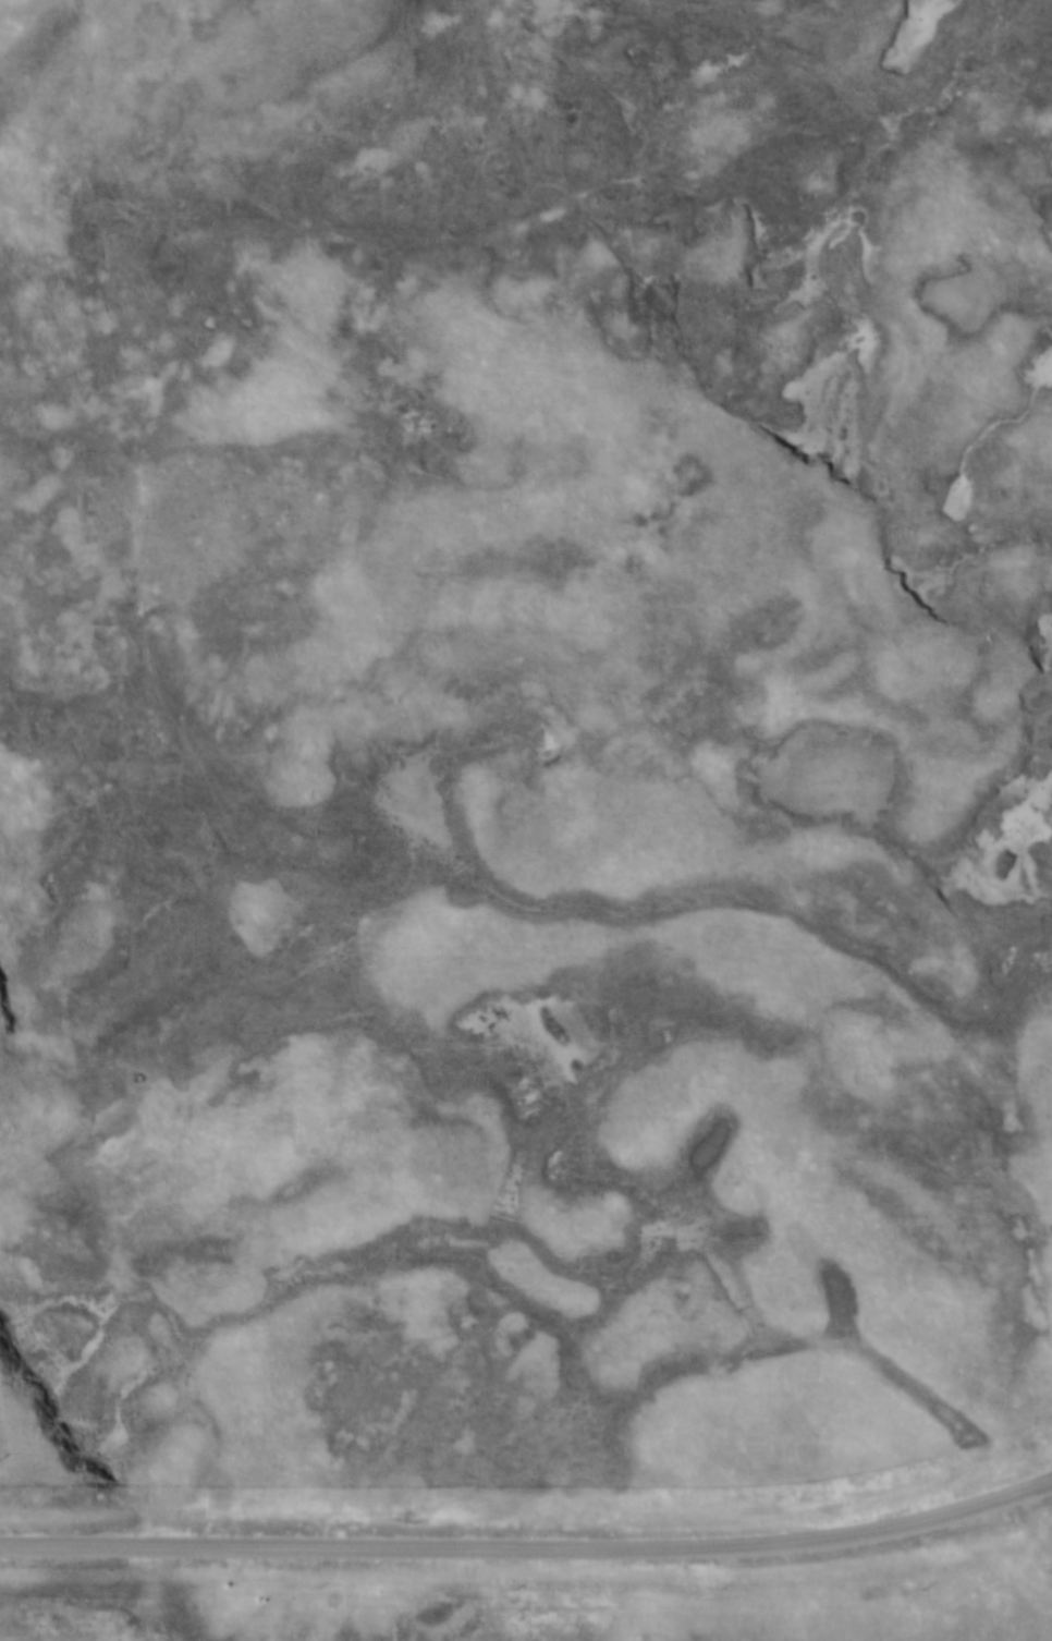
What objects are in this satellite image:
road: (529, 1542)

